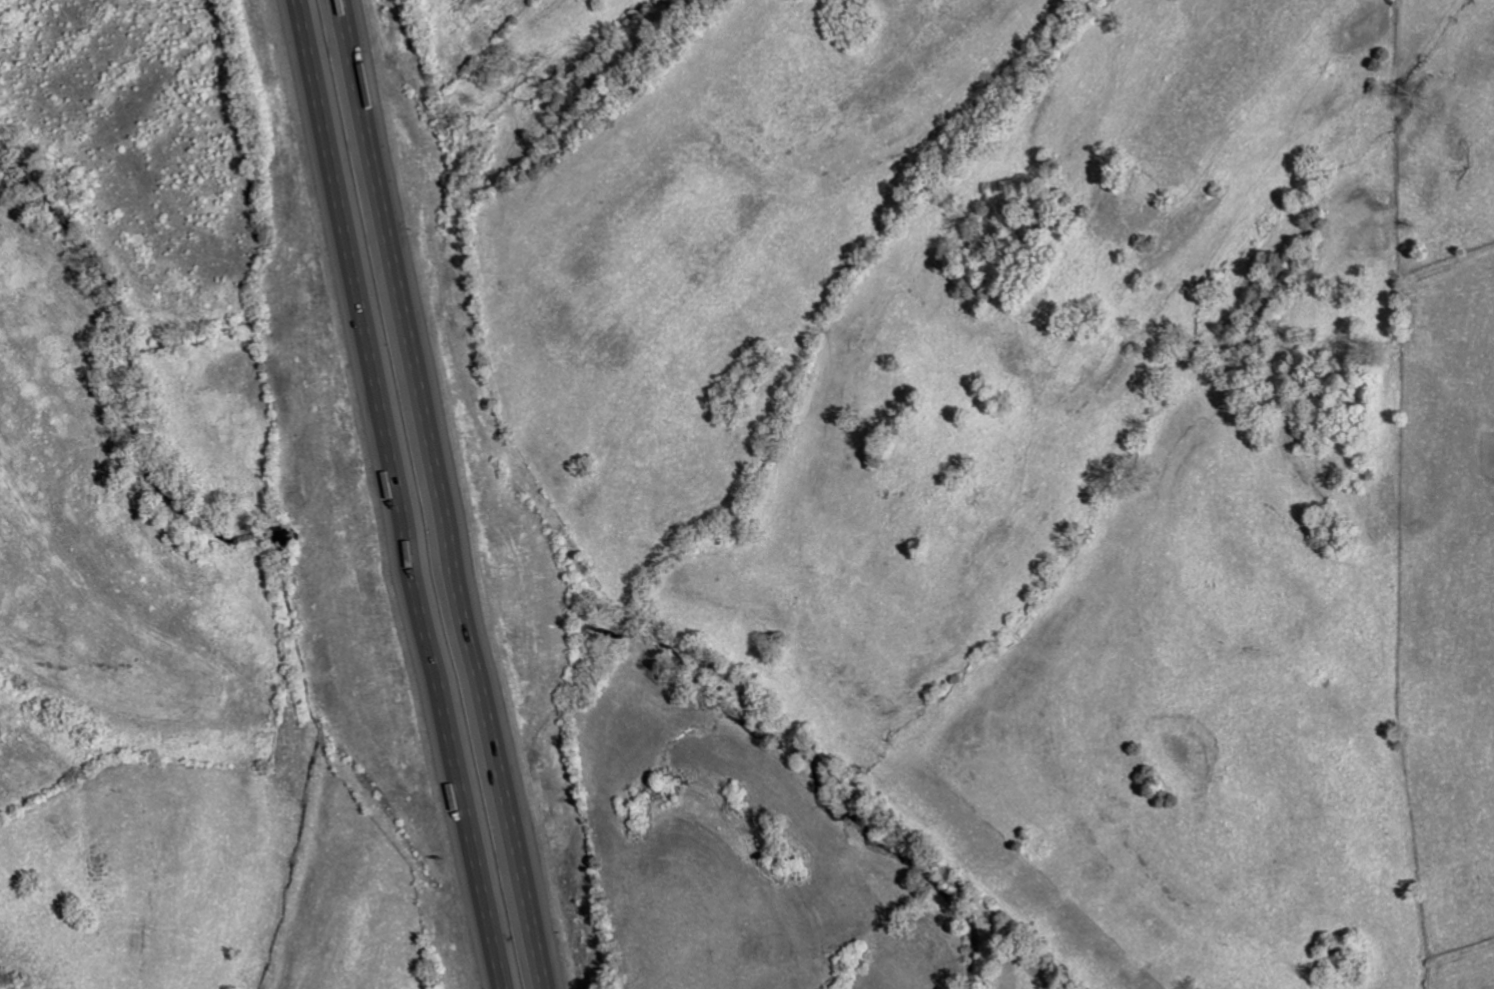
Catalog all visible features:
road: (400, 494)
road: (443, 494)

